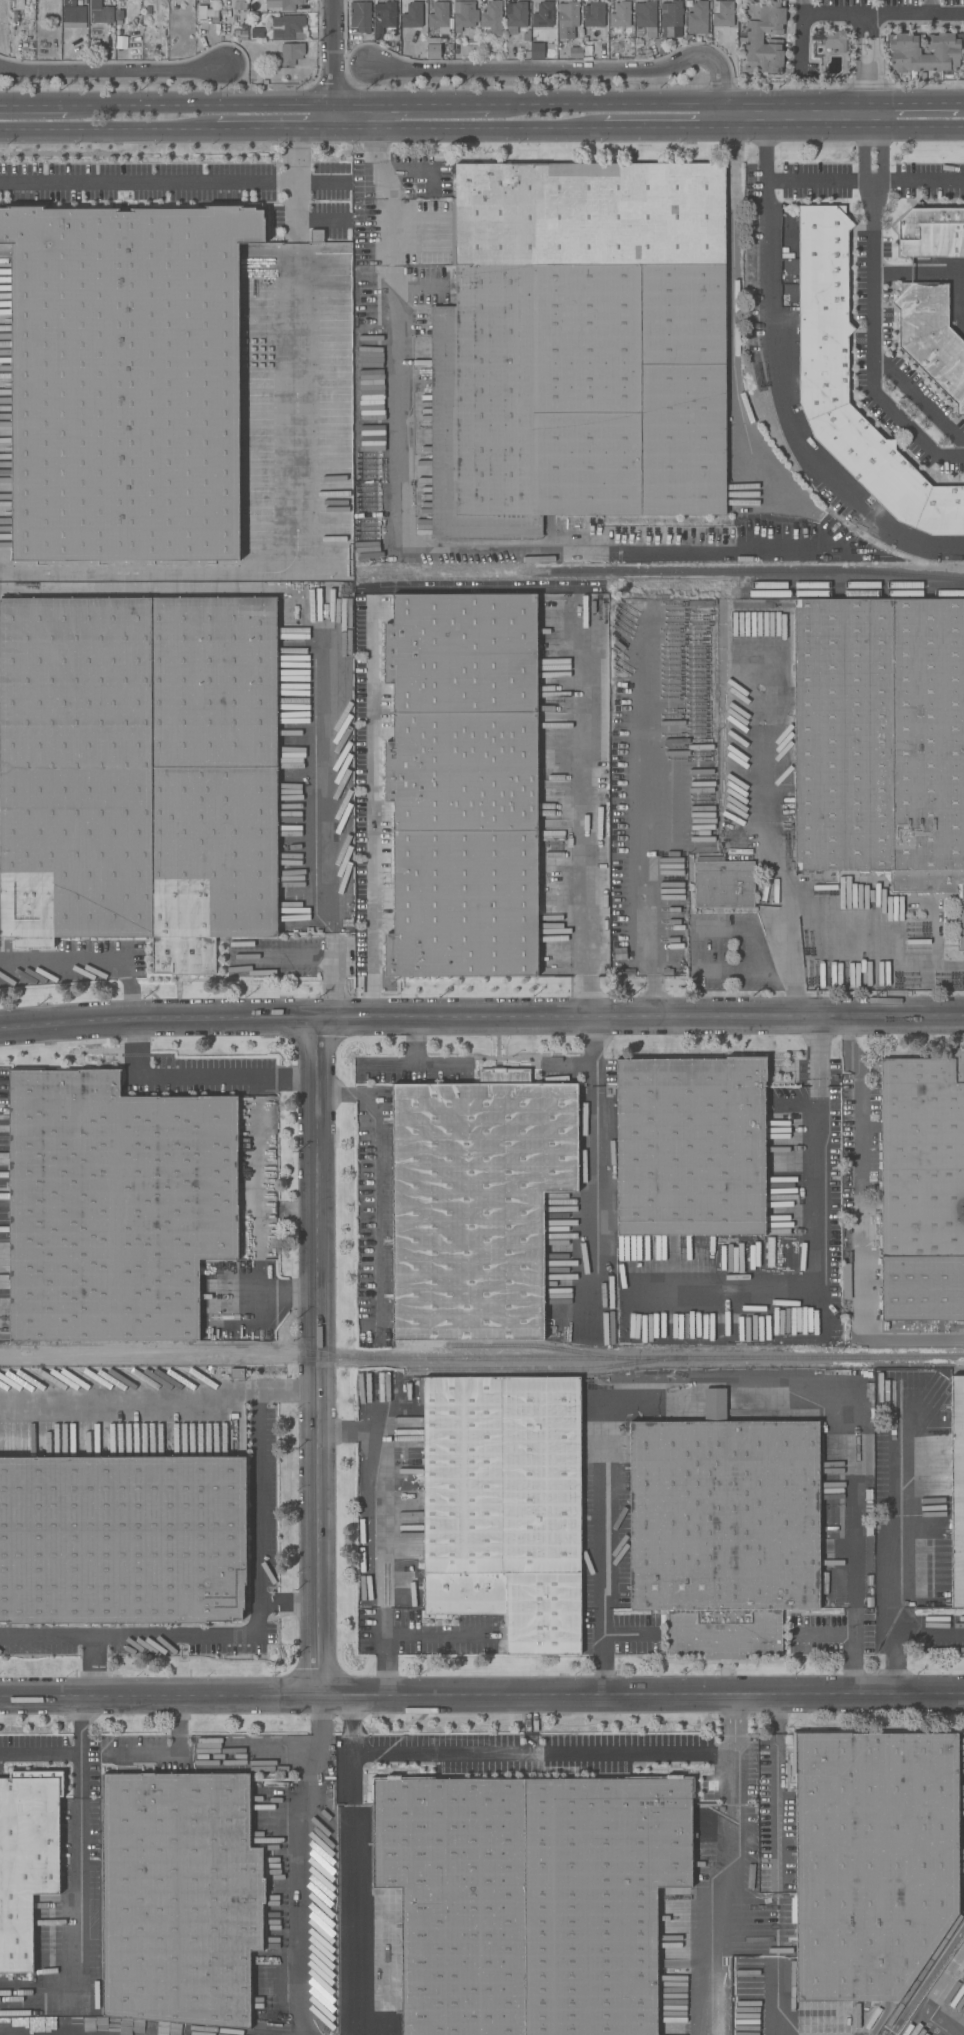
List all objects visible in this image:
building: (70, 2)
building: (282, 4)
building: (19, 5)
building: (240, 5)
road: (929, 7)
road: (803, 8)
building: (148, 10)
building: (100, 12)
building: (201, 12)
building: (593, 13)
building: (723, 13)
building: (74, 14)
building: (542, 14)
building: (412, 15)
building: (439, 15)
building: (464, 15)
building: (620, 15)
road: (883, 15)
building: (119, 16)
building: (360, 16)
building: (516, 16)
building: (567, 17)
building: (647, 17)
building: (670, 17)
building: (696, 17)
building: (384, 18)
building: (492, 18)
building: (288, 26)
building: (257, 33)
building: (616, 33)
building: (753, 37)
building: (689, 38)
building: (835, 40)
road: (803, 43)
building: (450, 45)
building: (433, 49)
building: (663, 50)
building: (536, 51)
building: (575, 52)
building: (906, 52)
building: (289, 53)
road: (855, 58)
road: (873, 58)
road: (334, 65)
road: (116, 70)
road: (581, 72)
road: (915, 100)
road: (960, 100)
road: (680, 101)
road: (411, 102)
road: (199, 103)
road: (33, 104)
road: (663, 130)
road: (844, 130)
road: (468, 131)
road: (270, 132)
road: (103, 133)
road: (918, 181)
road: (148, 182)
road: (820, 182)
road: (296, 188)
building: (931, 232)
building: (315, 236)
road: (918, 275)
road: (871, 304)
road: (732, 319)
building: (932, 337)
building: (582, 346)
building: (825, 370)
road: (782, 375)
building: (125, 380)
road: (917, 399)
railway: (671, 521)
road: (390, 550)
road: (296, 551)
railway: (851, 585)
railway: (851, 593)
building: (881, 739)
building: (140, 774)
building: (462, 787)
road: (584, 811)
road: (331, 814)
road: (378, 817)
road: (641, 817)
road: (765, 835)
building: (725, 885)
road: (693, 951)
road: (877, 956)
road: (89, 959)
road: (481, 1018)
road: (417, 1042)
road: (588, 1042)
road: (482, 1066)
road: (590, 1075)
road: (198, 1077)
road: (590, 1097)
building: (692, 1148)
building: (118, 1154)
road: (373, 1176)
building: (924, 1190)
building: (476, 1205)
road: (588, 1209)
road: (863, 1224)
road: (817, 1242)
road: (277, 1298)
railway: (548, 1347)
road: (320, 1358)
railway: (803, 1358)
railway: (461, 1359)
railway: (543, 1370)
building: (238, 1372)
road: (728, 1380)
road: (288, 1392)
road: (343, 1430)
building: (957, 1488)
road: (256, 1494)
building: (504, 1504)
road: (893, 1517)
building: (723, 1528)
road: (381, 1531)
building: (123, 1538)
road: (291, 1602)
road: (896, 1634)
road: (432, 1636)
road: (46, 1637)
road: (385, 1666)
road: (481, 1697)
road: (178, 1728)
road: (731, 1743)
road: (39, 1755)
road: (473, 1757)
road: (629, 1759)
road: (776, 1793)
road: (78, 1855)
building: (873, 1862)
building: (26, 1863)
road: (297, 1863)
road: (353, 1865)
building: (181, 1900)
building: (530, 1901)
road: (924, 1977)
building: (962, 1982)
building: (963, 1989)
road: (938, 1997)

